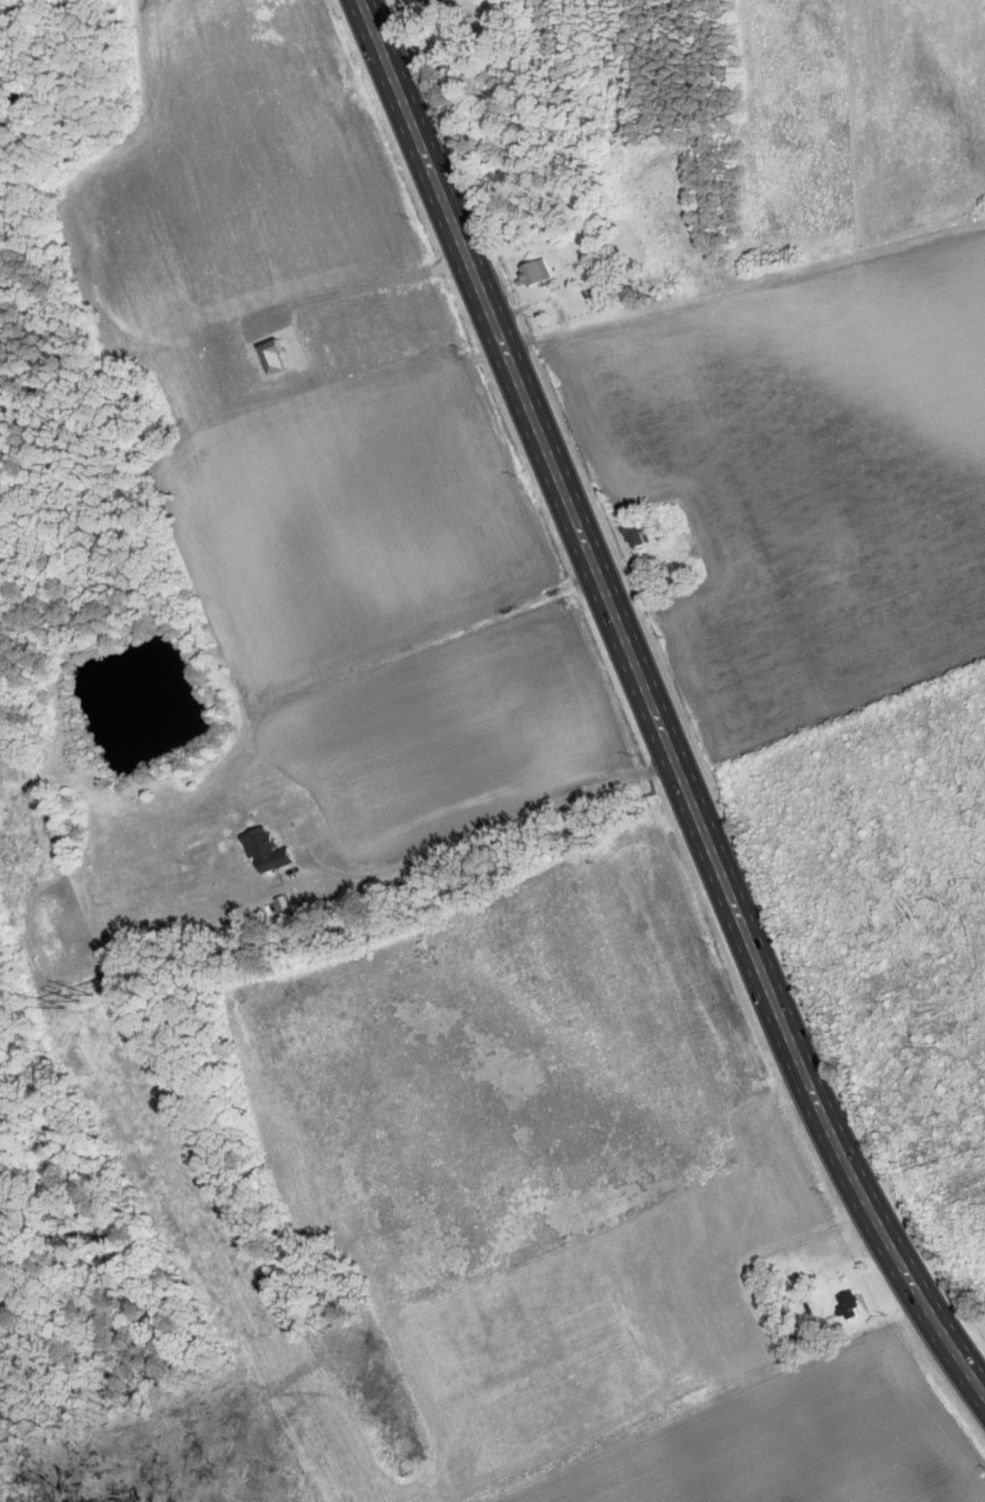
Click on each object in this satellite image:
building: (417, 2)
building: (537, 272)
building: (640, 533)
building: (694, 563)
road: (651, 709)
road: (479, 800)
power tower: (80, 1002)
building: (849, 1304)

